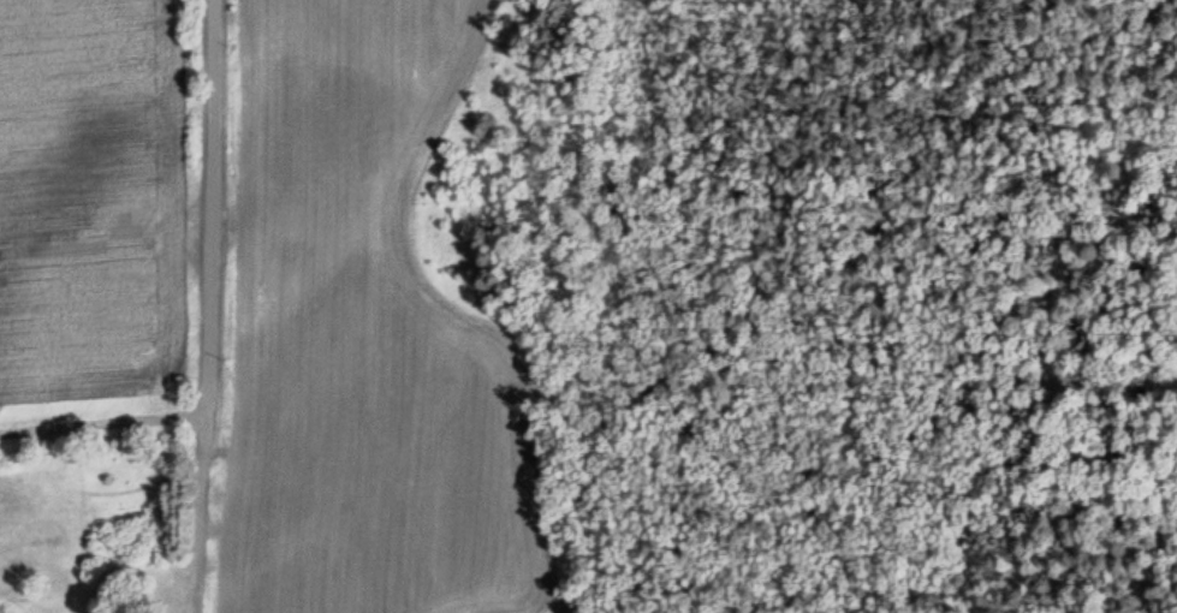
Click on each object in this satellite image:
road: (215, 209)
road: (203, 516)

